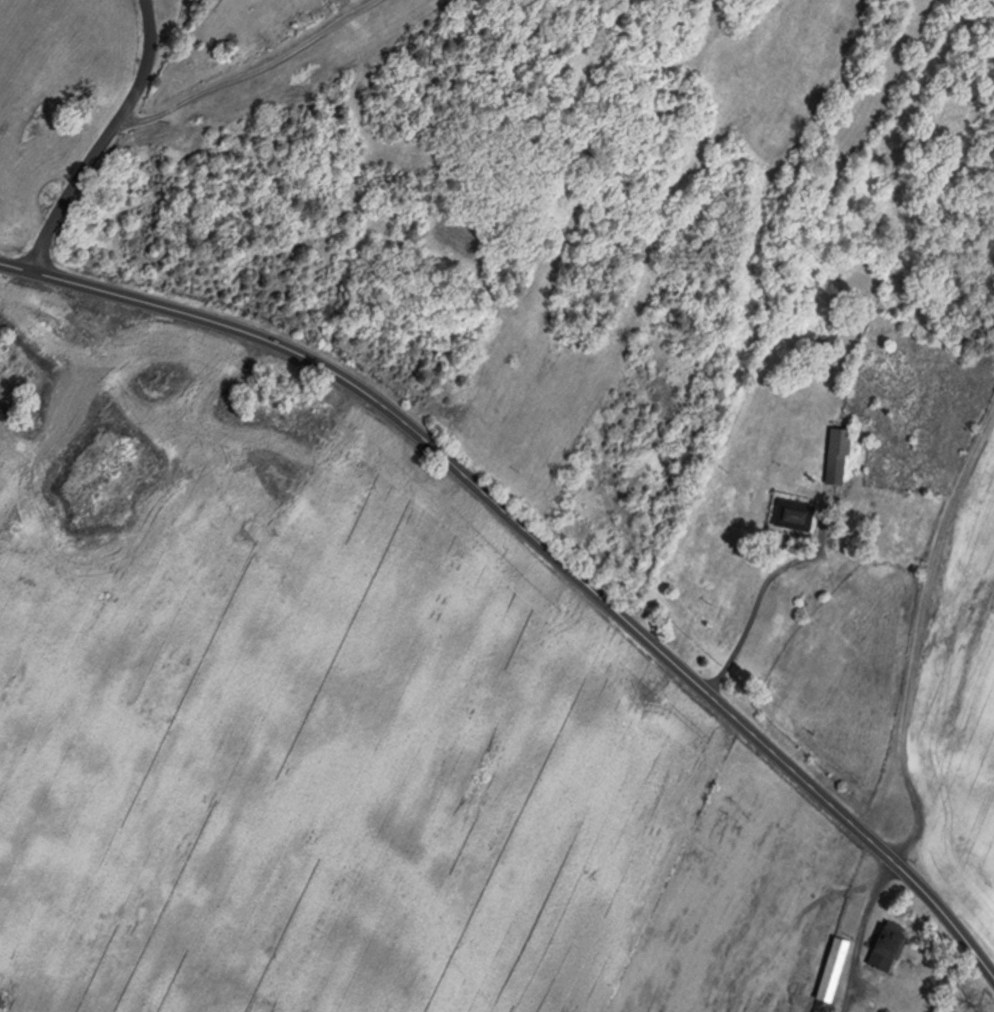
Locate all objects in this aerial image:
road: (176, 29)
road: (149, 63)
road: (258, 75)
road: (71, 192)
road: (486, 494)
road: (754, 614)
road: (920, 619)
road: (947, 913)
road: (863, 933)

